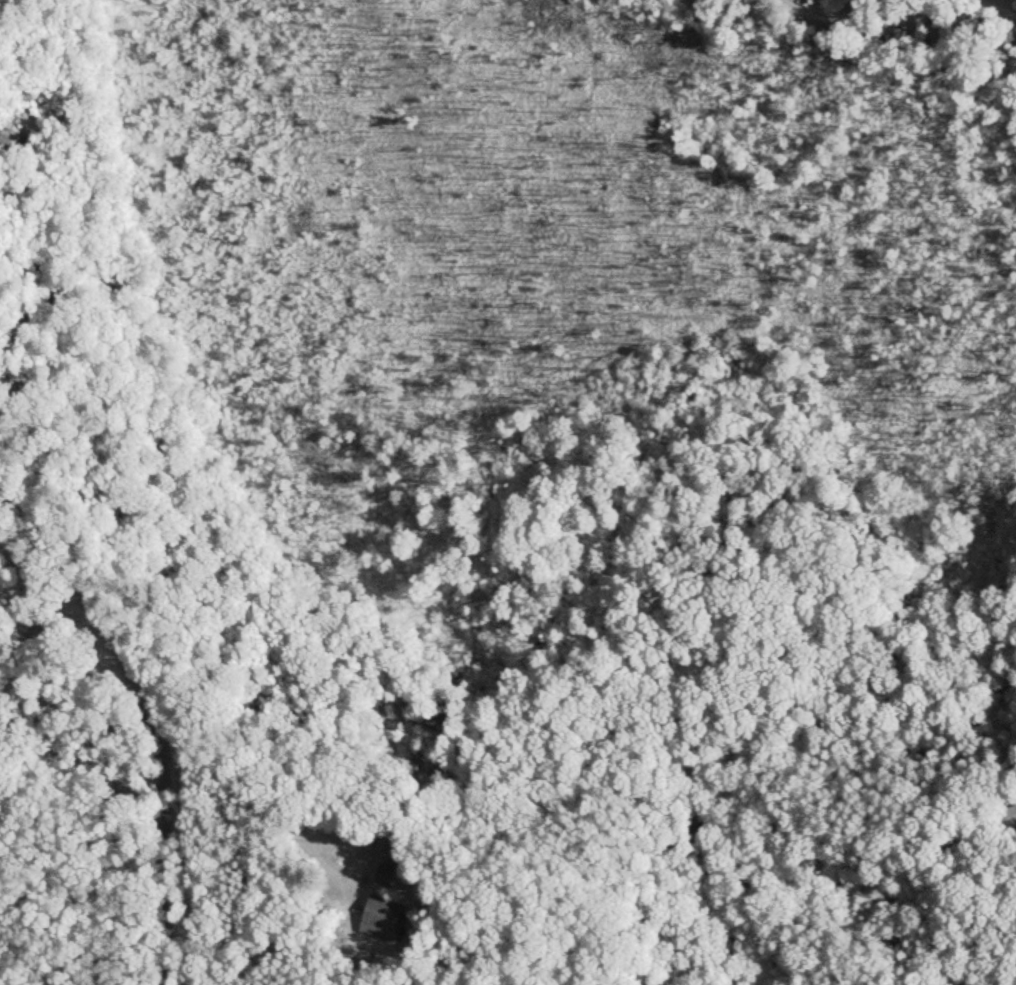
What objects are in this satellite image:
road: (858, 4)
road: (909, 5)
building: (1015, 7)
road: (819, 20)
road: (37, 593)
road: (151, 710)
road: (308, 831)
building: (381, 918)

